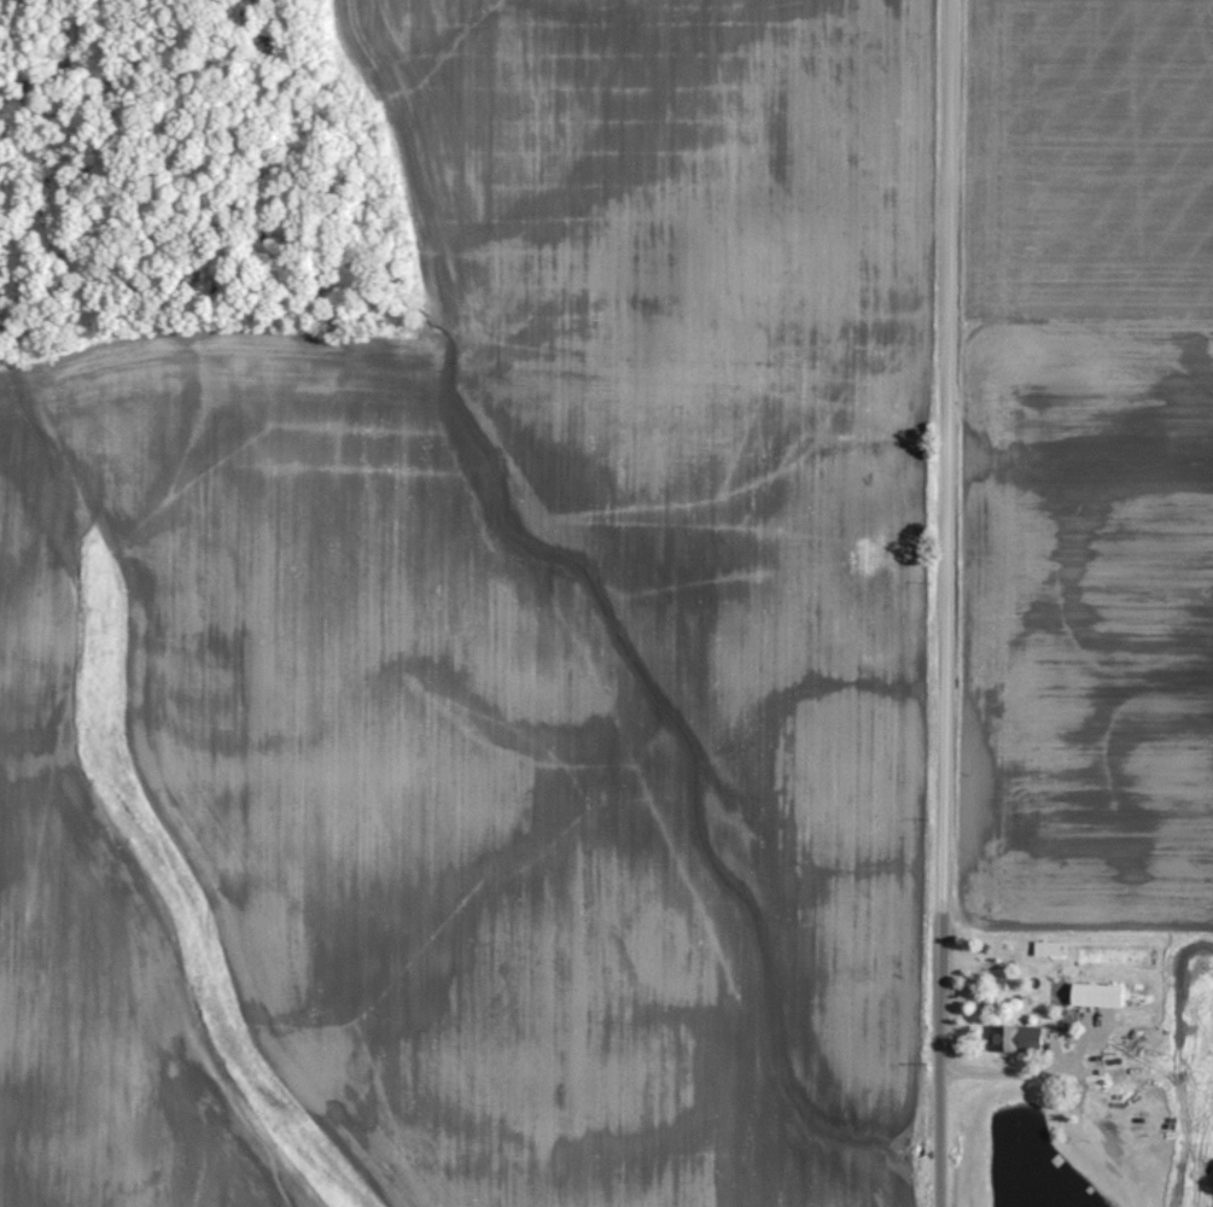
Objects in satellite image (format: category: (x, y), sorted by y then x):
road: (921, 603)
building: (1096, 991)
building: (1014, 1034)

